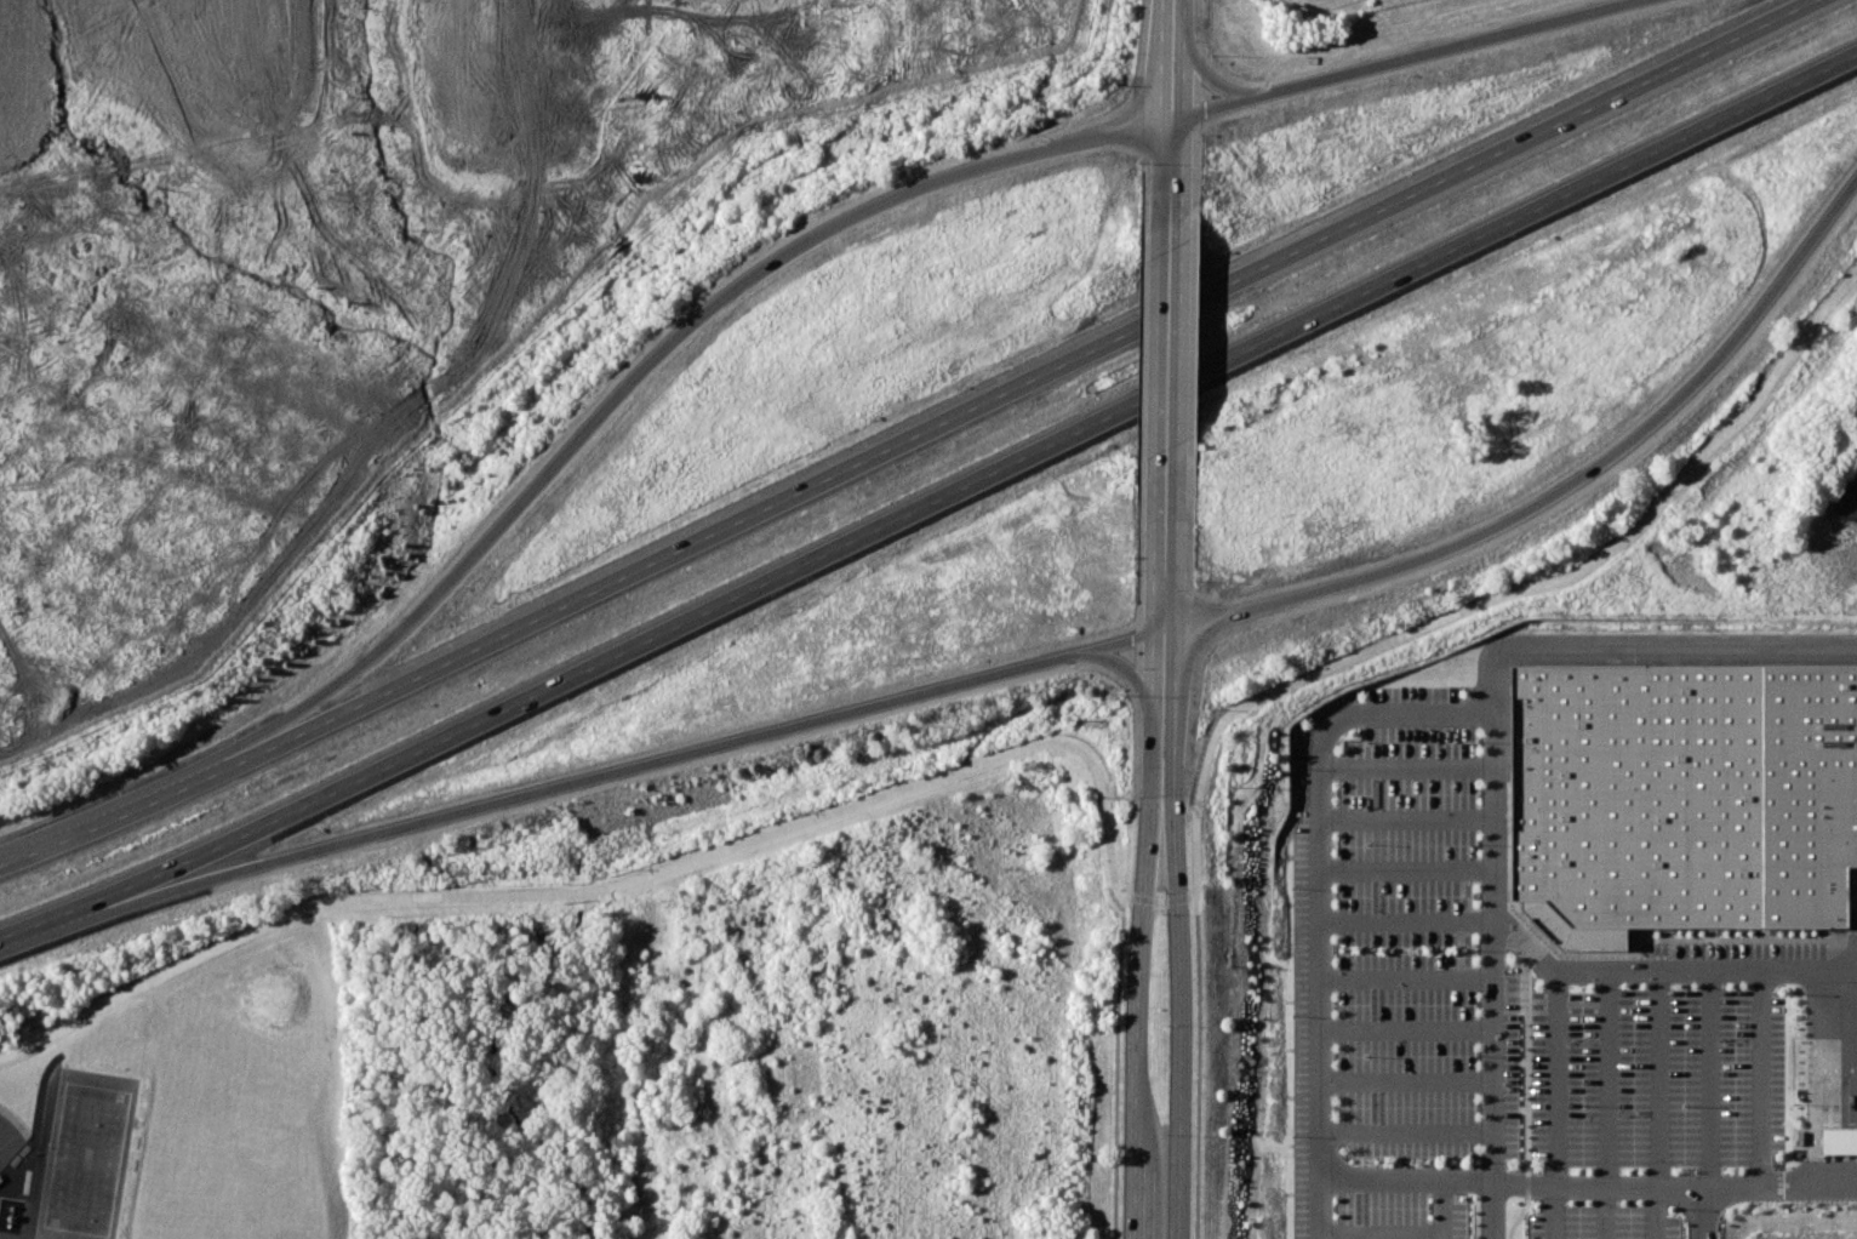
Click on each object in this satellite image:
road: (1446, 46)
road: (1155, 57)
road: (1190, 58)
road: (1225, 68)
road: (1121, 92)
road: (1213, 137)
road: (1184, 158)
road: (1159, 162)
road: (1118, 171)
road: (1196, 218)
road: (1145, 234)
road: (1196, 335)
road: (1145, 358)
road: (630, 382)
road: (910, 438)
road: (1701, 453)
road: (1590, 470)
road: (1194, 499)
road: (931, 502)
road: (1144, 513)
road: (1204, 598)
road: (1179, 600)
road: (1154, 601)
road: (1135, 617)
road: (1373, 623)
road: (1190, 669)
road: (1135, 681)
road: (1222, 716)
road: (1404, 765)
road: (547, 789)
building: (1681, 795)
road: (1490, 798)
road: (1101, 804)
road: (1405, 818)
road: (1320, 866)
road: (1405, 869)
road: (537, 891)
road: (1144, 893)
road: (1406, 921)
road: (1177, 936)
road: (1406, 978)
parking lot: (1492, 1020)
road: (1406, 1030)
road: (1199, 1064)
road: (1116, 1067)
road: (1492, 1074)
road: (1705, 1079)
road: (1759, 1079)
road: (1406, 1080)
road: (1555, 1104)
road: (1606, 1106)
road: (1656, 1106)
building: (1823, 1114)
gas station: (1823, 1114)
road: (35, 1124)
road: (1406, 1132)
park: (10, 1136)
park: (87, 1155)
road: (1412, 1176)
road: (1600, 1180)
road: (1807, 1184)
road: (1132, 1197)
road: (1320, 1207)
road: (1703, 1212)
road: (1381, 1233)

